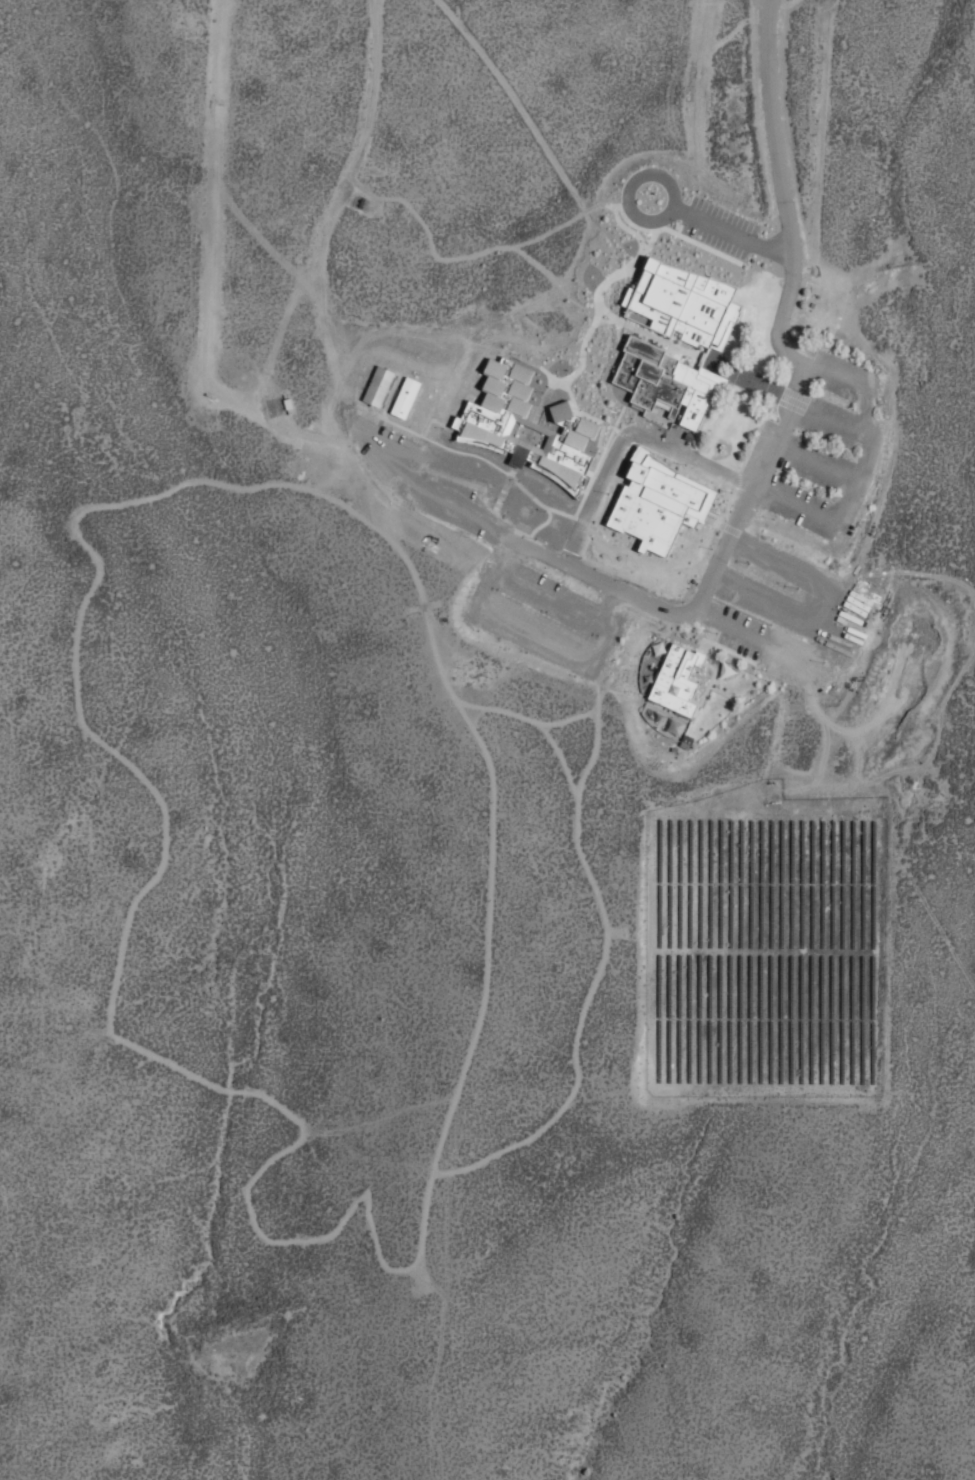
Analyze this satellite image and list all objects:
road: (632, 190)
parking lot: (719, 231)
road: (734, 236)
building: (685, 311)
building: (710, 358)
building: (667, 390)
building: (381, 393)
building: (408, 405)
building: (530, 420)
parking lot: (828, 455)
building: (654, 483)
road: (751, 493)
building: (636, 519)
building: (619, 558)
parking lot: (541, 614)
building: (679, 685)
solar farm: (764, 943)
road: (121, 976)

